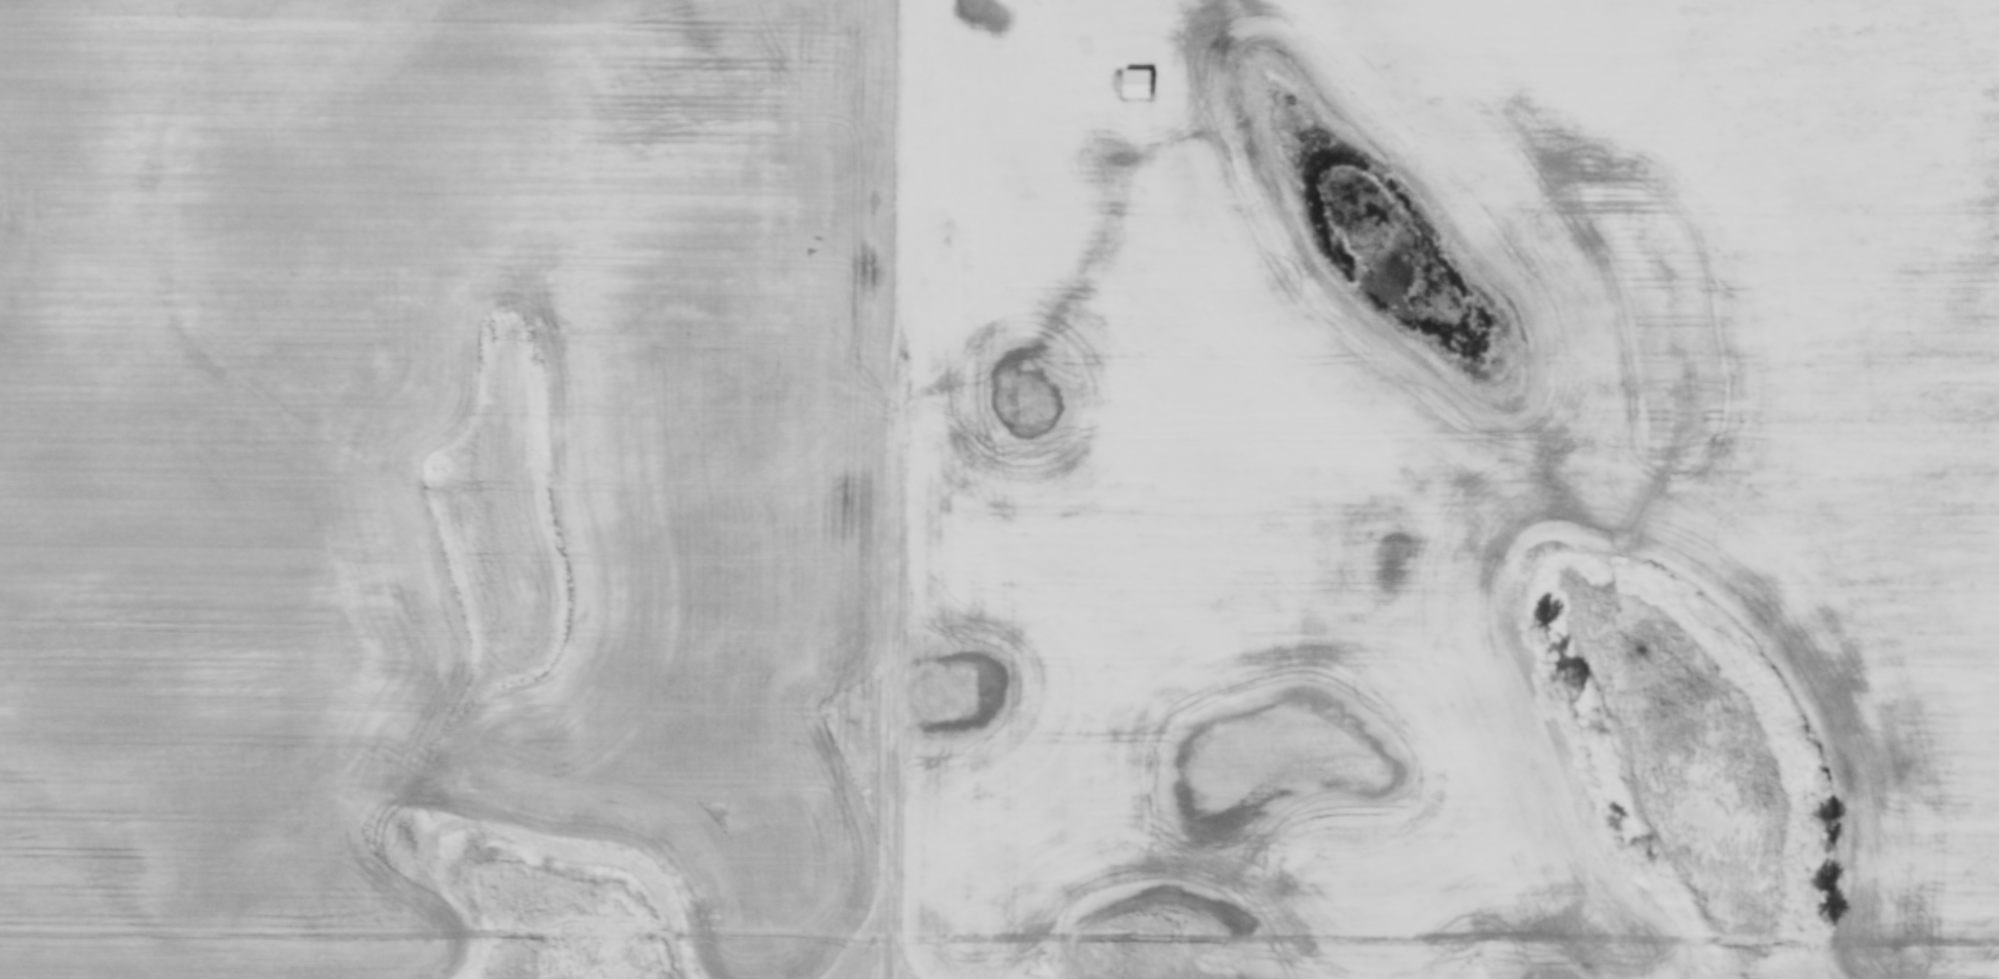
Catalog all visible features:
building: (1141, 83)
road: (1048, 289)
road: (895, 486)

